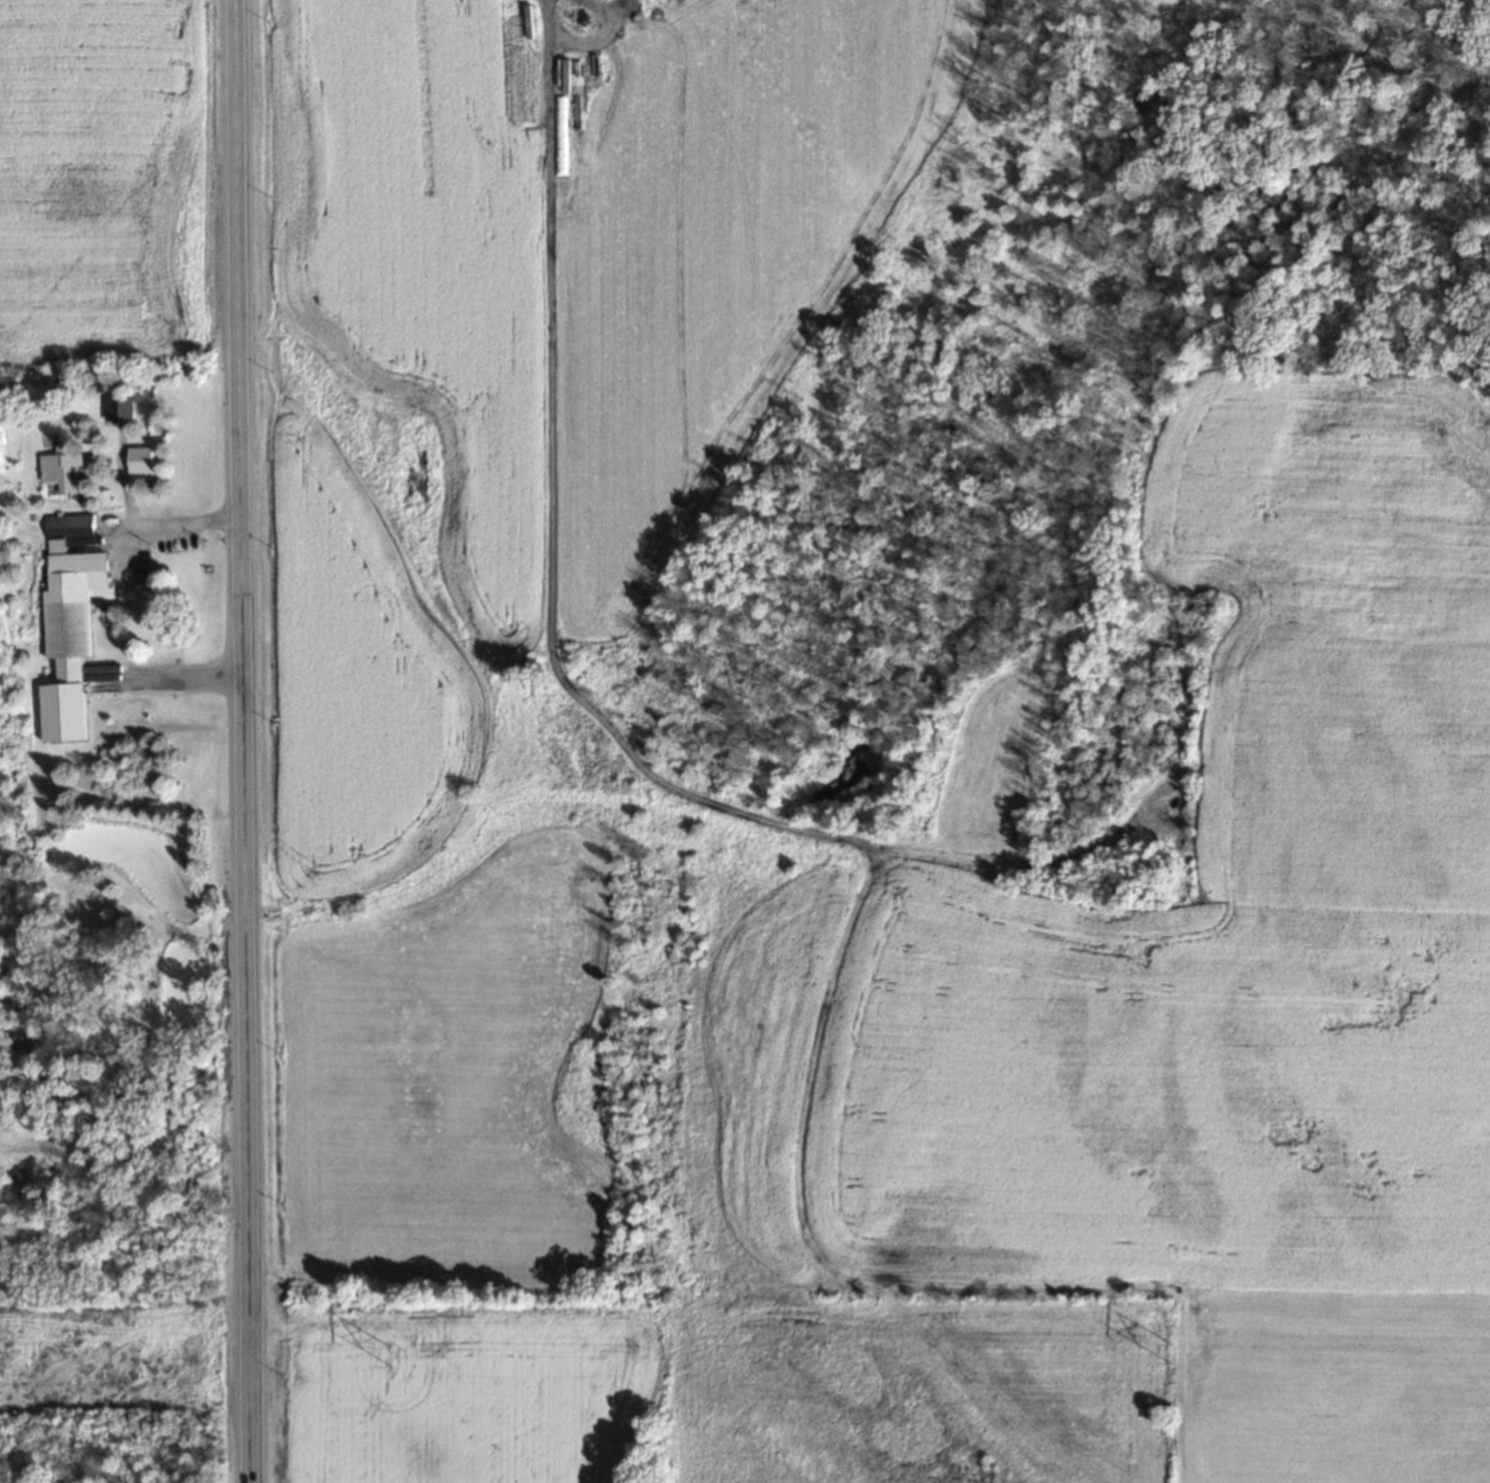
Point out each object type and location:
building: (117, 408)
building: (62, 469)
road: (175, 525)
building: (69, 620)
road: (174, 679)
road: (243, 741)
building: (21, 1184)
power tower: (1168, 1351)
power tower: (388, 1353)

